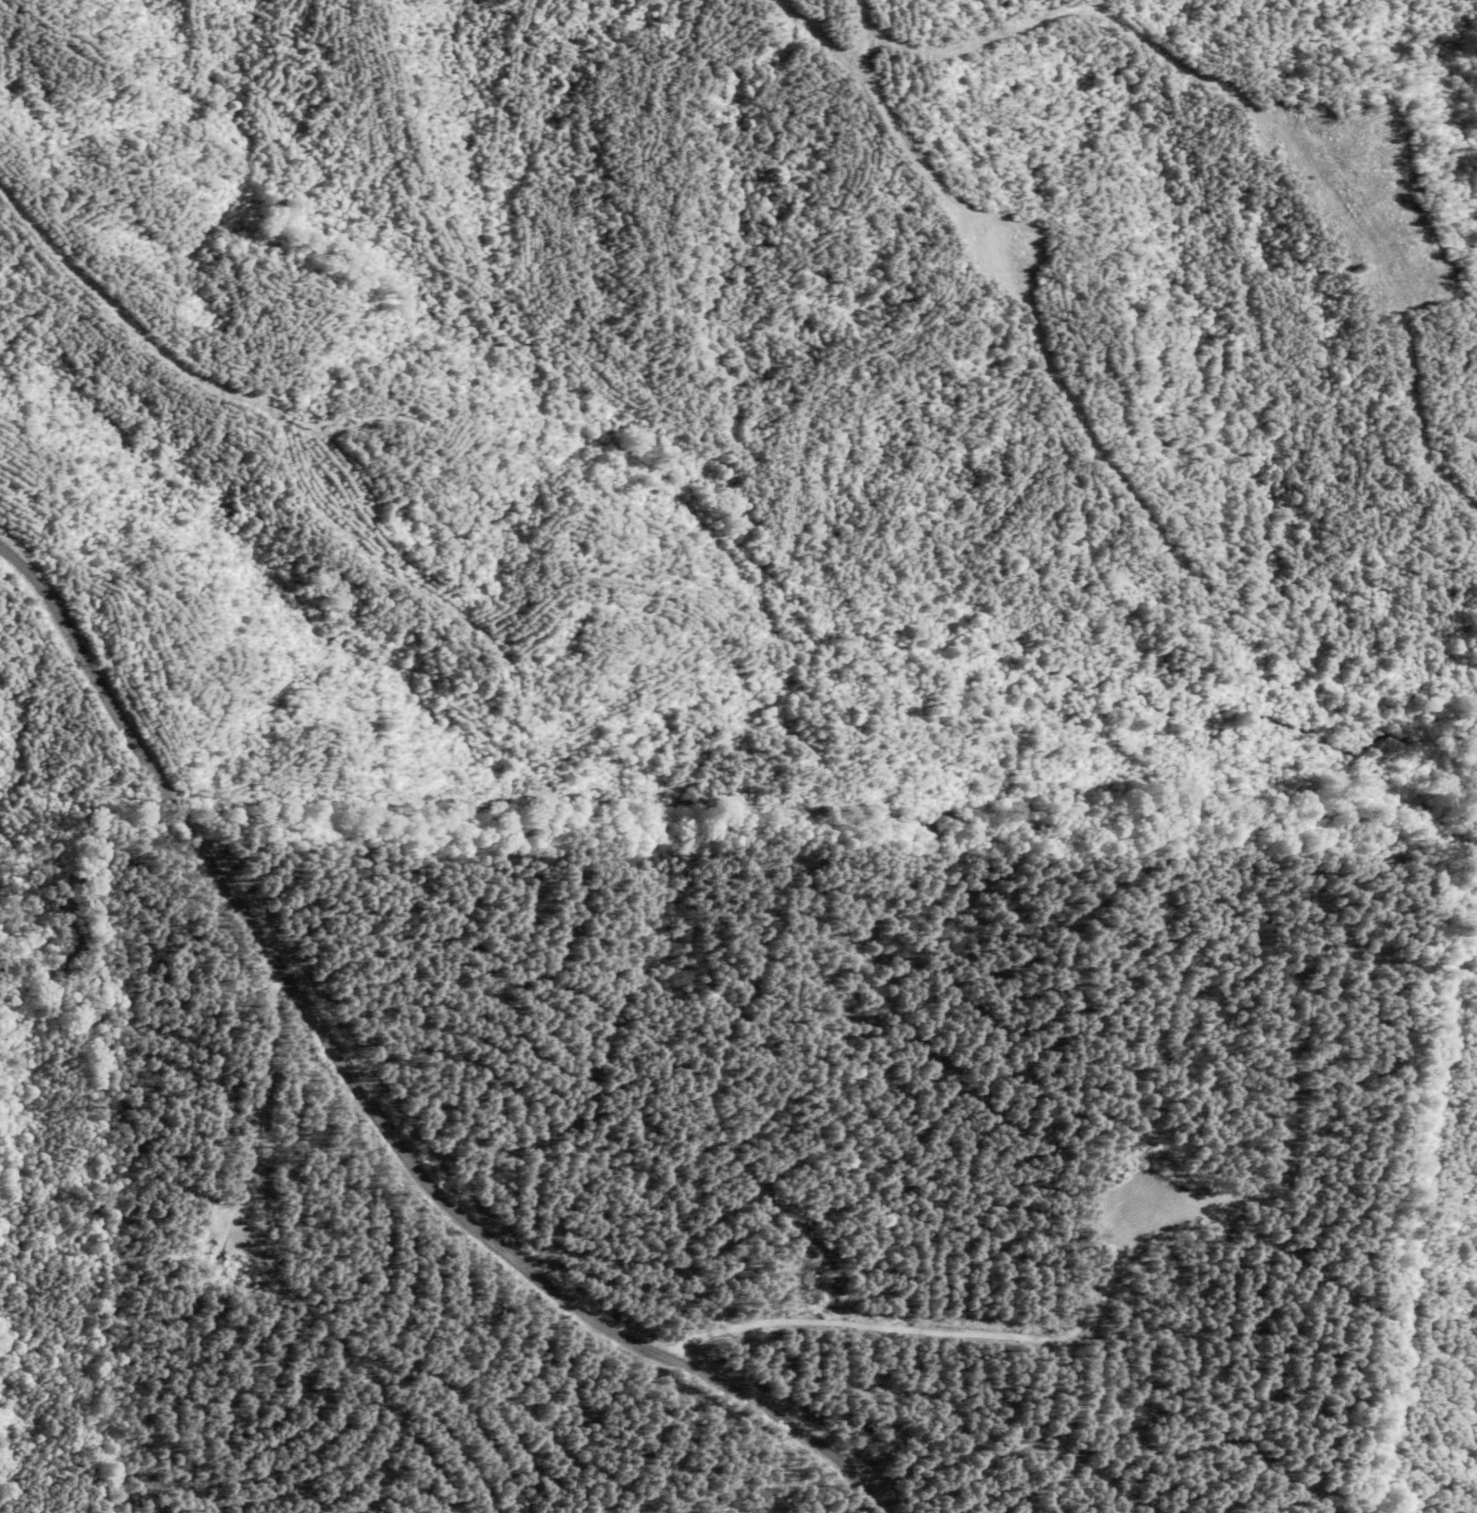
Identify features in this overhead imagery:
road: (379, 1105)

